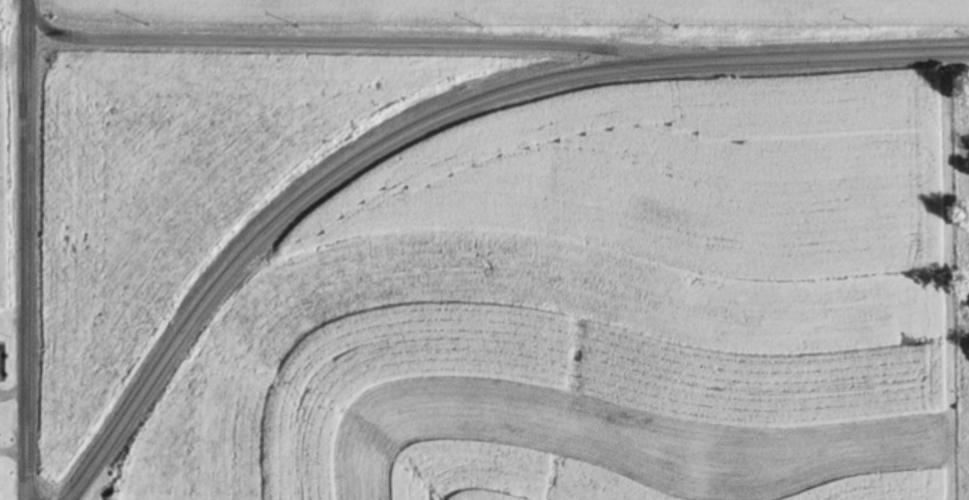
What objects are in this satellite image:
road: (796, 28)
road: (12, 35)
road: (331, 40)
road: (433, 114)
road: (25, 249)
road: (13, 311)

